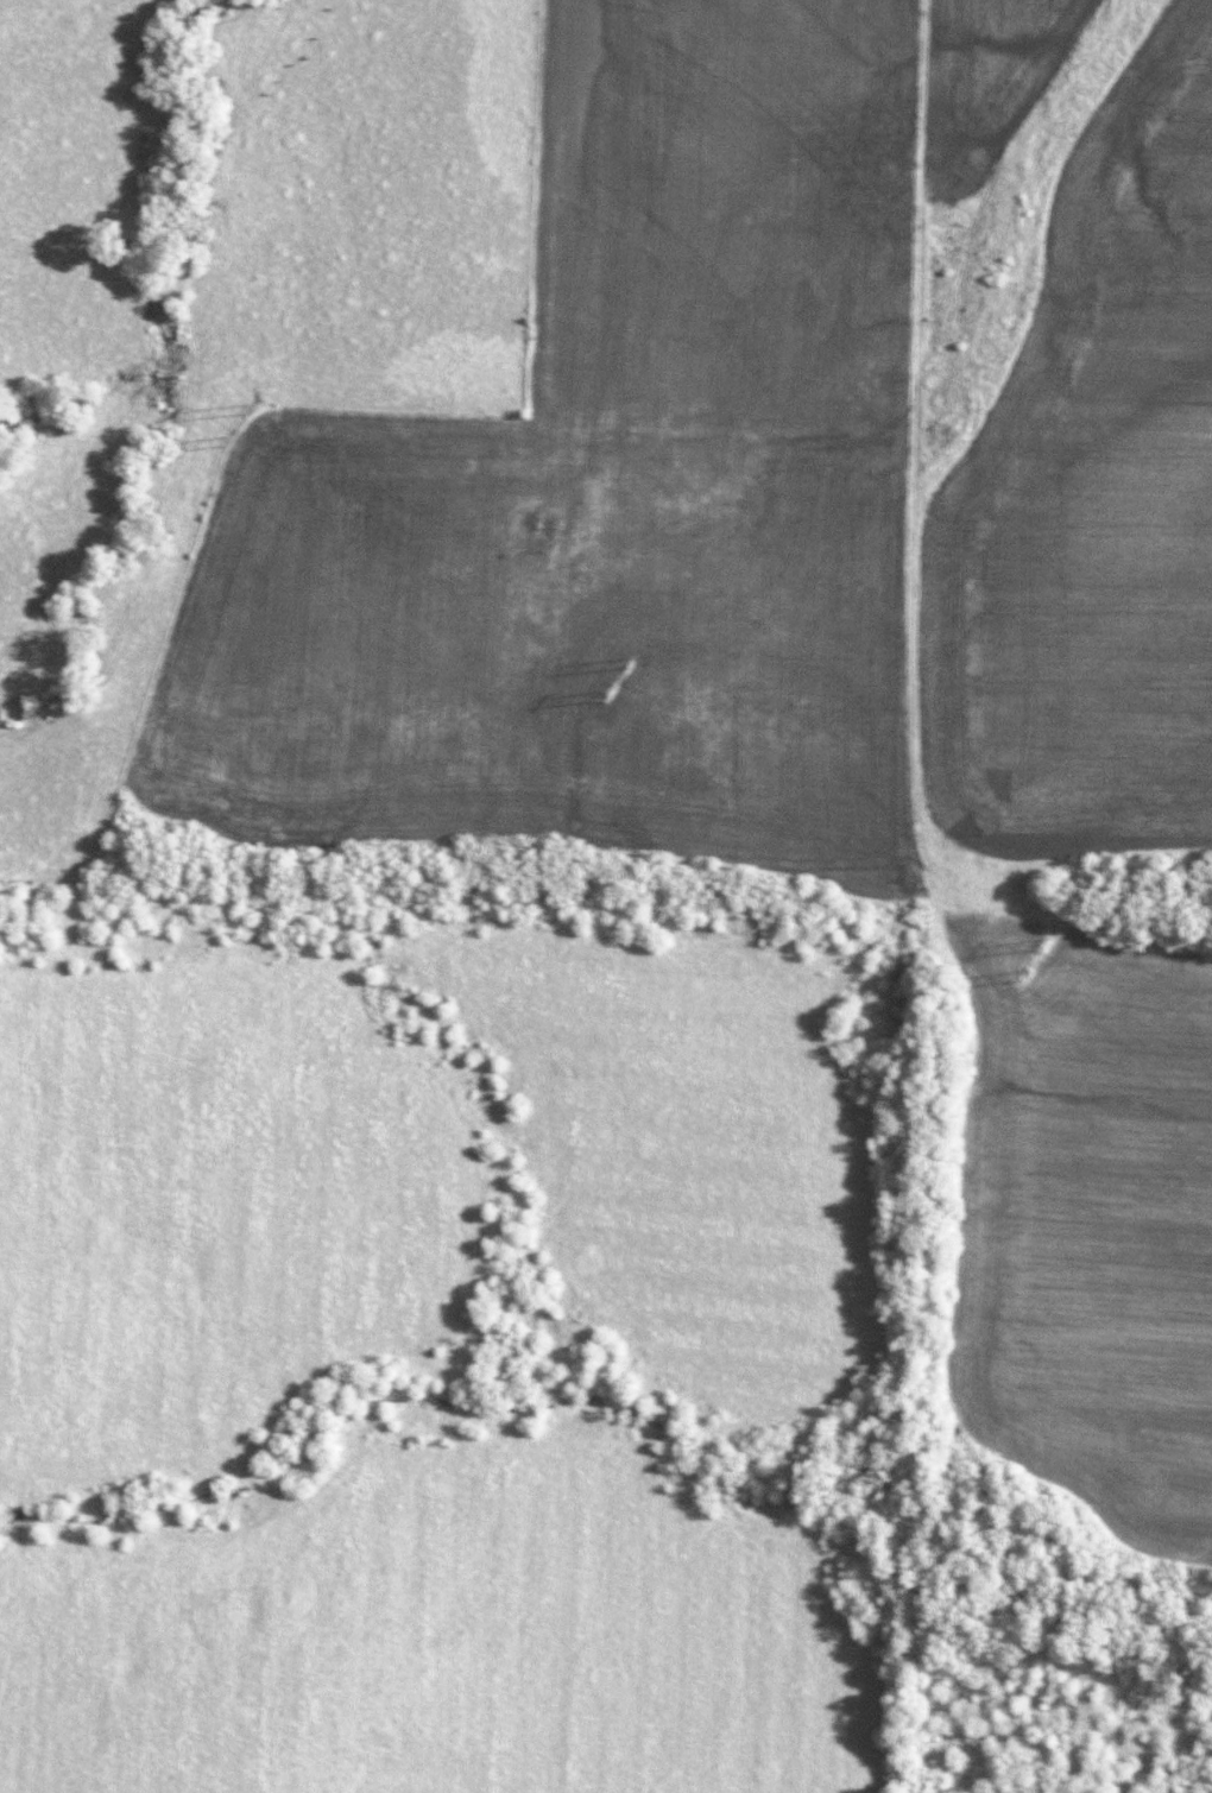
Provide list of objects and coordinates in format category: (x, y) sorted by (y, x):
power tower: (246, 409)
power tower: (226, 442)
power tower: (623, 663)
power tower: (602, 694)
power tower: (1040, 945)
power tower: (1011, 973)

